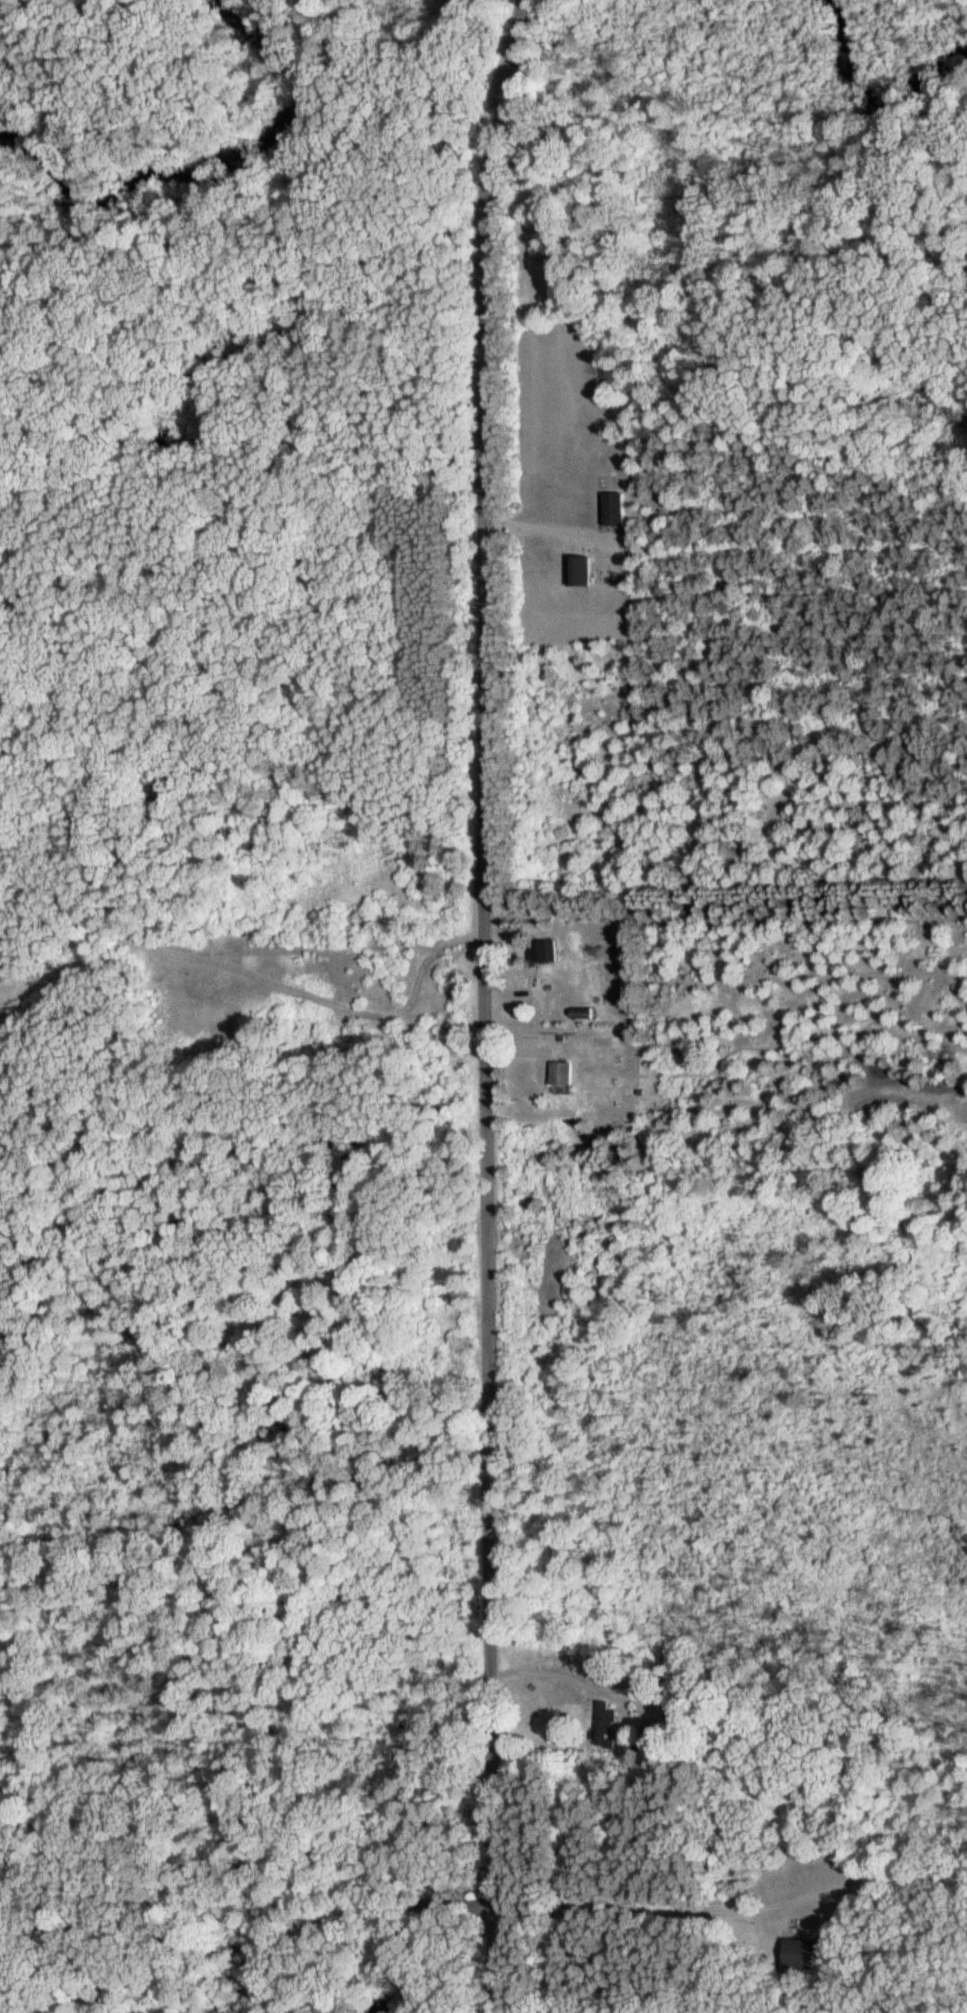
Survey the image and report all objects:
building: (612, 510)
road: (537, 529)
building: (579, 572)
road: (480, 884)
road: (240, 943)
building: (550, 952)
building: (566, 1073)
road: (544, 1671)
building: (607, 1716)
road: (489, 1894)
road: (729, 1908)
building: (800, 1954)
road: (287, 1965)

